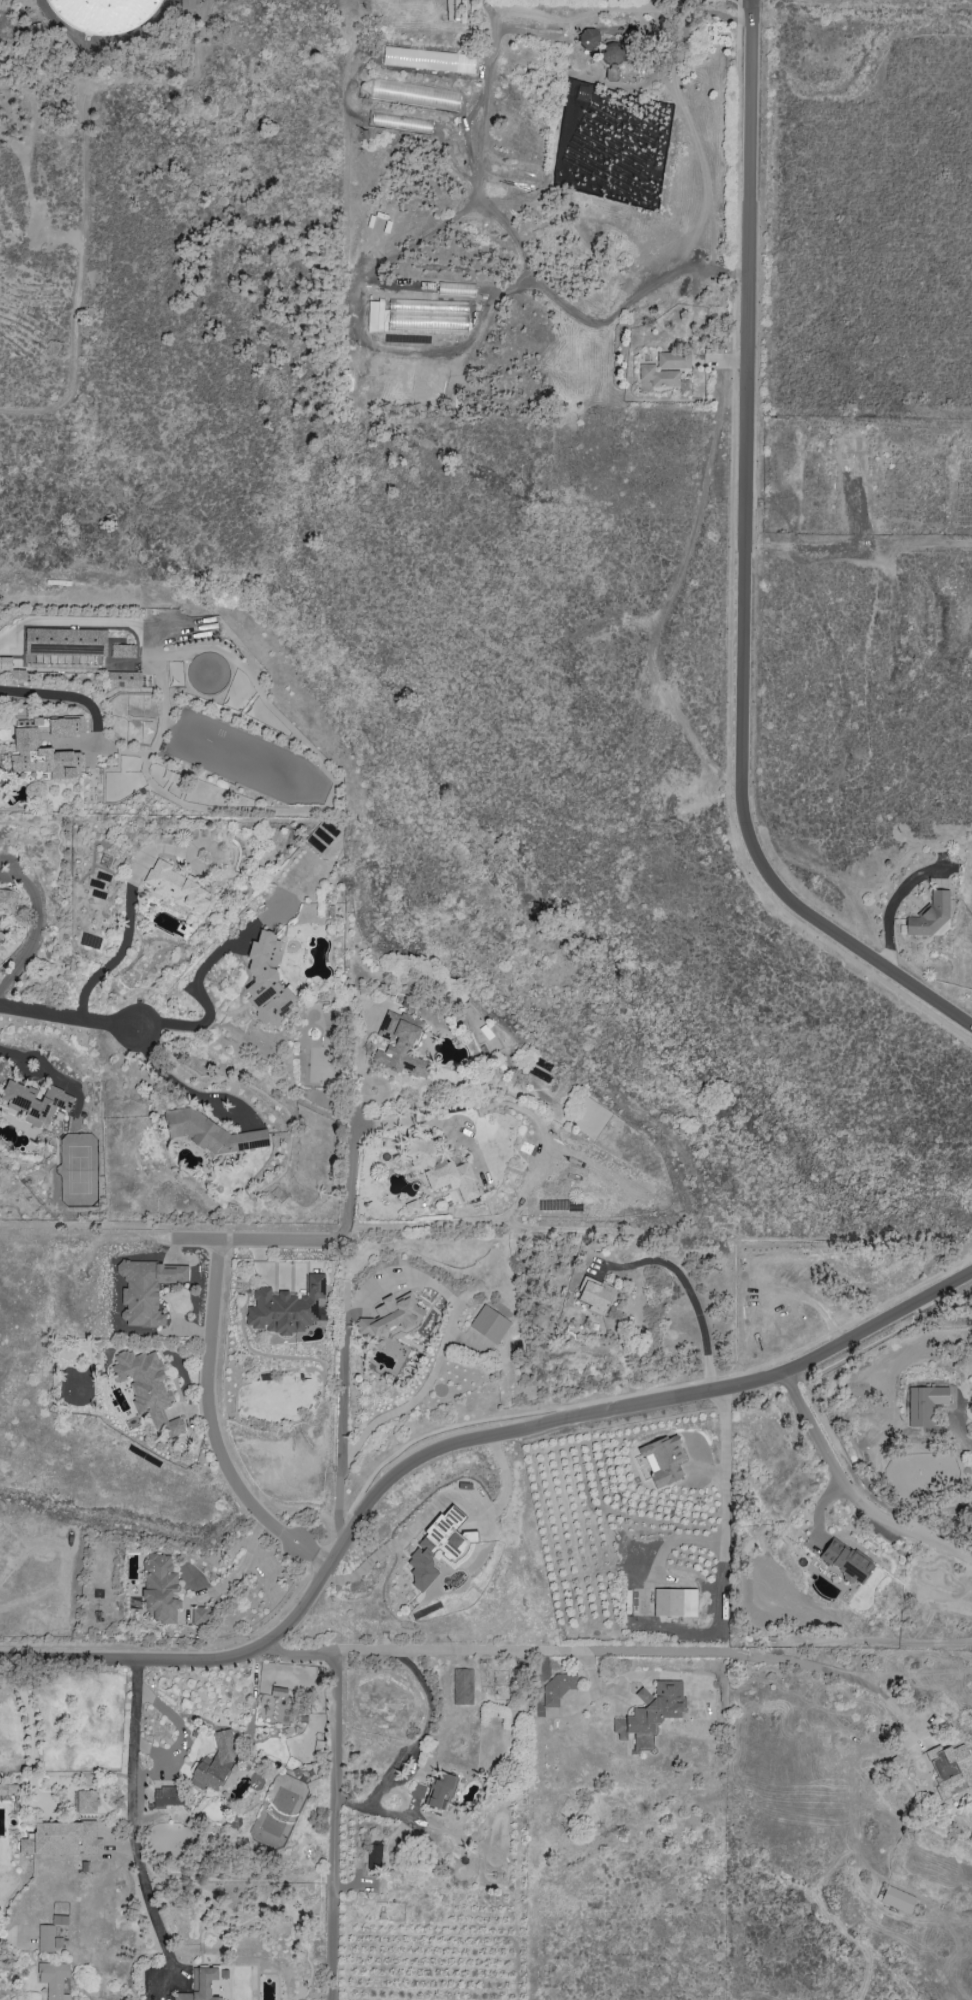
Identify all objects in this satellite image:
building: (187, 4)
building: (103, 14)
building: (188, 15)
building: (588, 39)
building: (612, 55)
building: (439, 60)
building: (404, 93)
building: (400, 123)
road: (77, 278)
road: (568, 308)
building: (664, 371)
road: (687, 553)
road: (743, 568)
road: (65, 621)
building: (65, 641)
building: (122, 651)
building: (5, 664)
building: (18, 675)
building: (123, 680)
road: (63, 695)
building: (47, 749)
building: (176, 887)
building: (7, 901)
building: (930, 916)
road: (33, 938)
road: (108, 963)
building: (266, 981)
road: (204, 1003)
road: (68, 1018)
building: (400, 1045)
road: (6, 1051)
road: (45, 1070)
building: (536, 1079)
road: (178, 1086)
building: (35, 1102)
road: (407, 1120)
building: (186, 1130)
building: (439, 1168)
building: (411, 1207)
road: (513, 1224)
road: (93, 1225)
road: (312, 1239)
road: (969, 1244)
building: (145, 1291)
building: (595, 1296)
road: (690, 1298)
building: (286, 1308)
building: (389, 1316)
building: (489, 1324)
road: (877, 1331)
road: (445, 1339)
building: (147, 1388)
building: (924, 1404)
road: (342, 1411)
road: (211, 1423)
building: (663, 1460)
road: (723, 1473)
road: (854, 1493)
road: (361, 1501)
road: (301, 1511)
building: (434, 1548)
building: (845, 1561)
road: (238, 1569)
building: (160, 1588)
building: (674, 1603)
building: (198, 1615)
road: (208, 1647)
road: (597, 1650)
road: (591, 1669)
road: (642, 1676)
building: (462, 1686)
building: (556, 1689)
building: (278, 1692)
building: (652, 1709)
road: (33, 1726)
road: (180, 1730)
road: (422, 1732)
road: (134, 1759)
building: (214, 1764)
building: (950, 1769)
road: (409, 1773)
building: (8, 1789)
building: (432, 1791)
building: (166, 1797)
building: (85, 1802)
road: (377, 1811)
road: (337, 1826)
building: (61, 1839)
building: (373, 1856)
building: (897, 1900)
building: (59, 1920)
road: (158, 1930)
road: (16, 1937)
building: (48, 1939)
building: (53, 1979)
building: (199, 1985)

